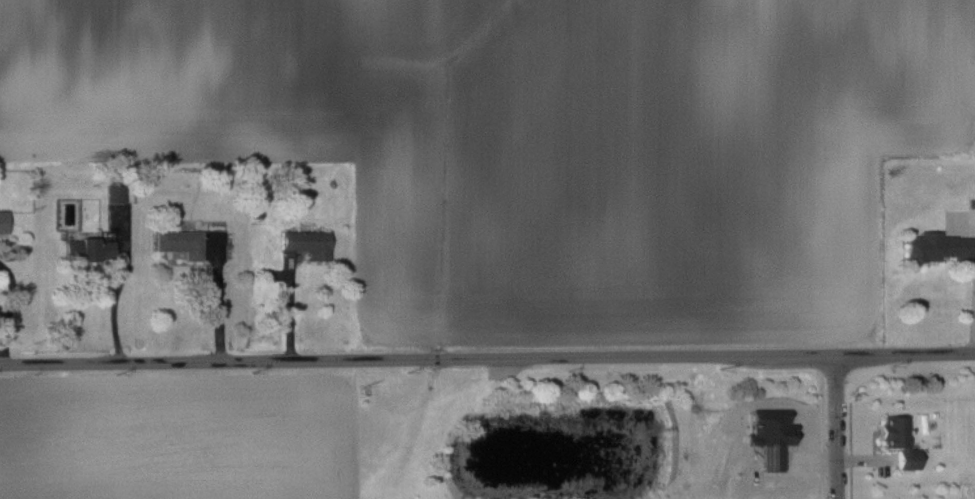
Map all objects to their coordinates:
building: (115, 193)
building: (3, 221)
building: (180, 242)
building: (308, 242)
building: (938, 246)
building: (88, 248)
road: (13, 295)
road: (116, 301)
road: (292, 307)
road: (1, 324)
road: (2, 342)
road: (487, 358)
road: (835, 428)
building: (899, 440)

